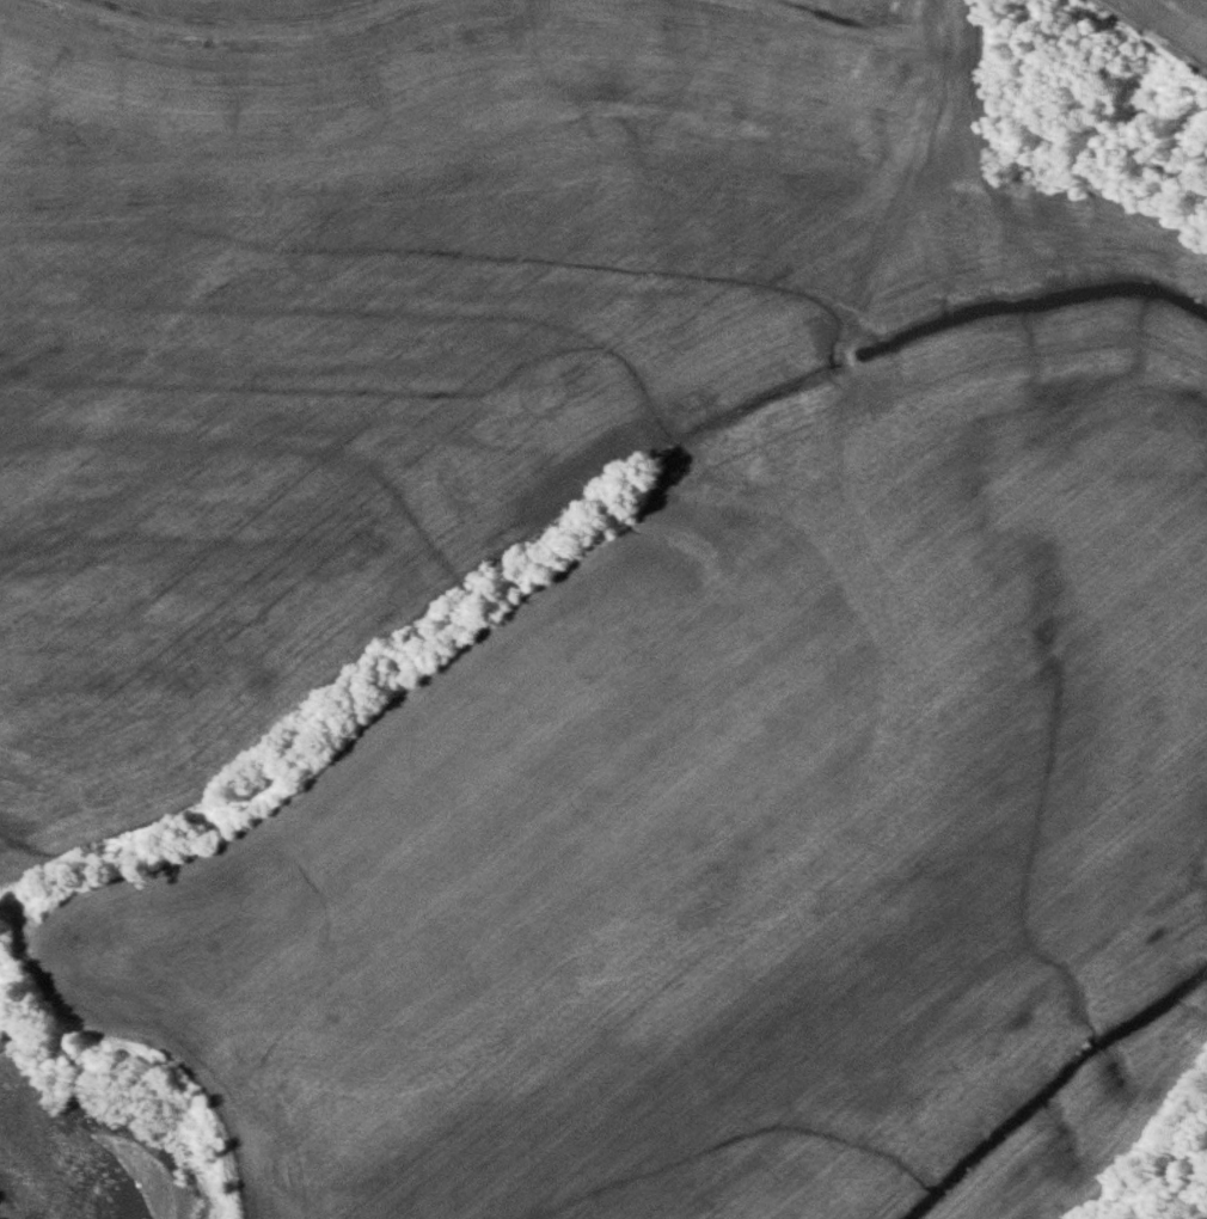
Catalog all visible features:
road: (1153, 35)
crop: (623, 667)
river: (45, 1160)

